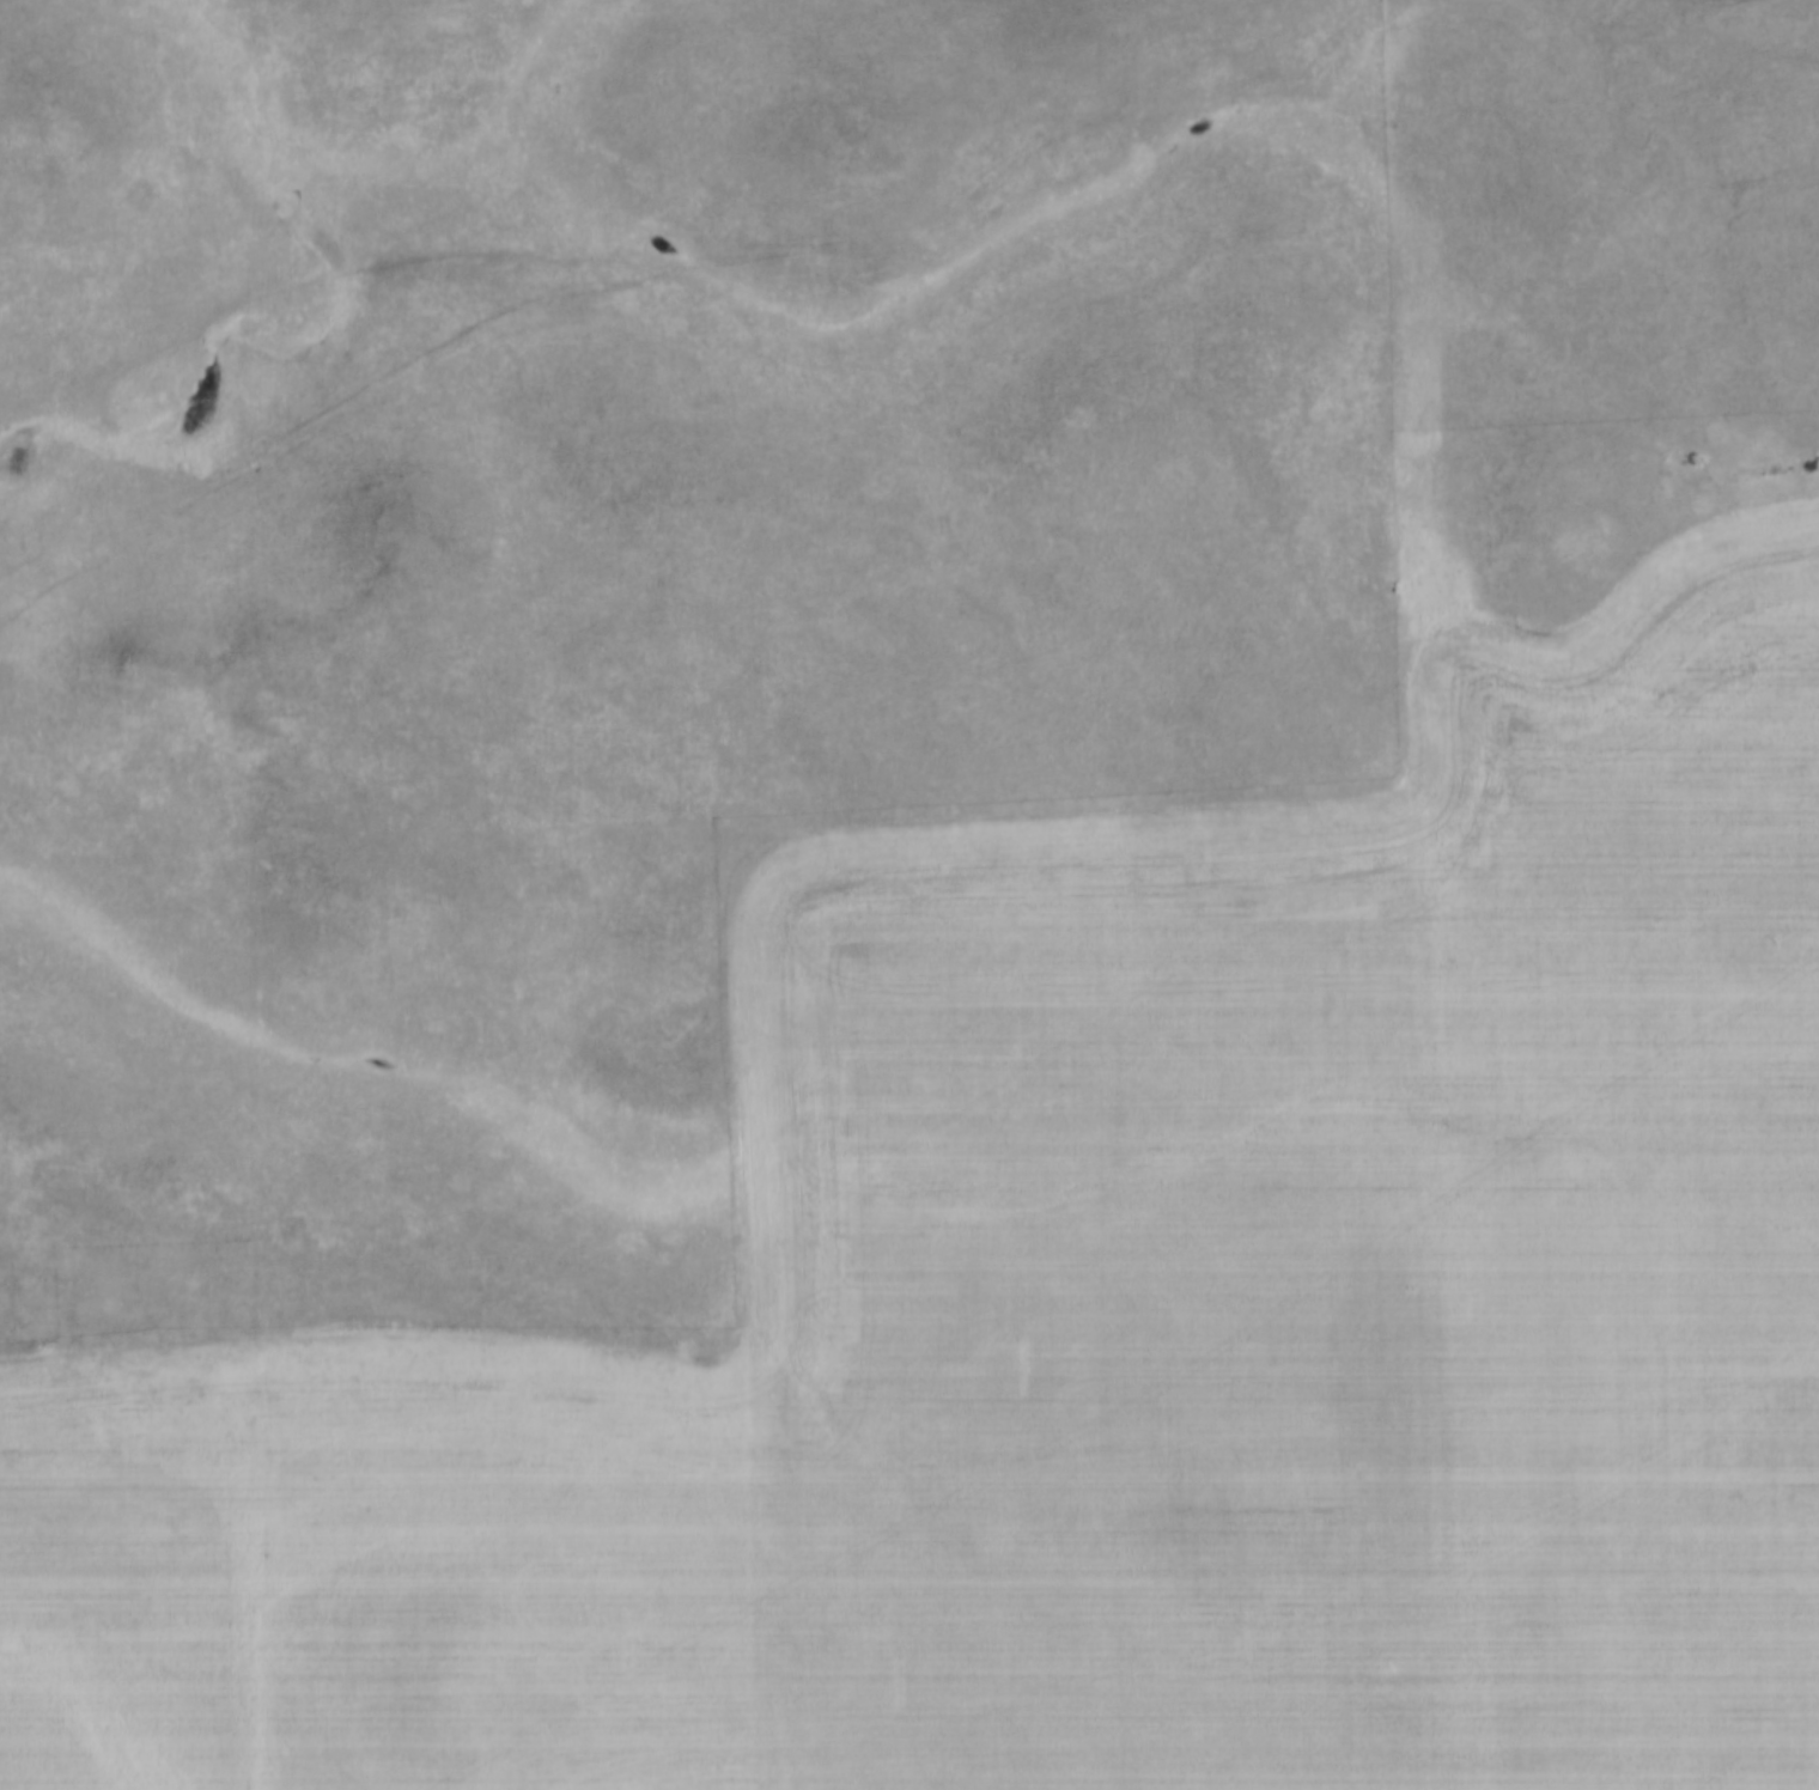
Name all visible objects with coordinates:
road: (1416, 763)

